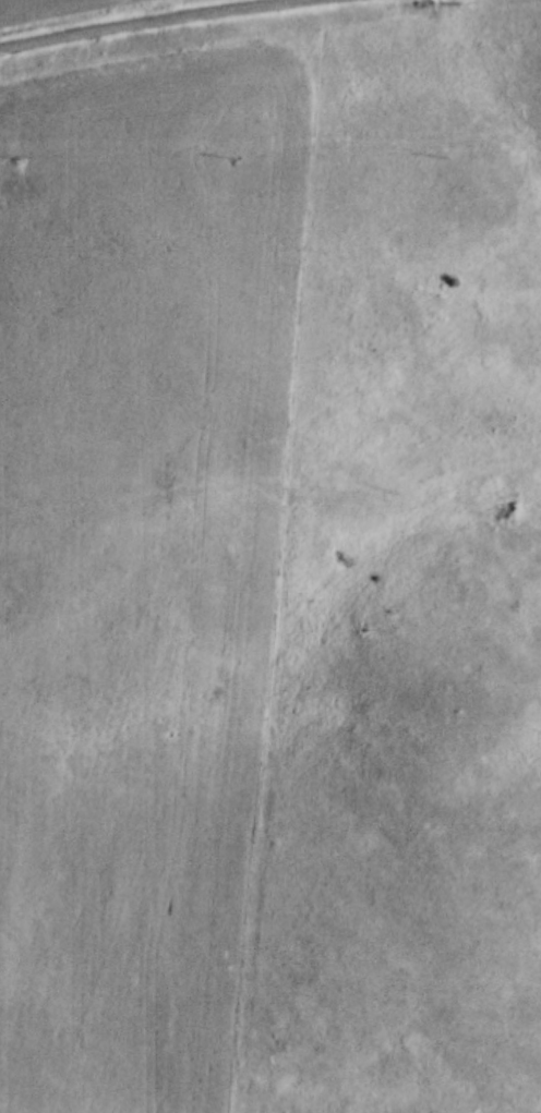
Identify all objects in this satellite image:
road: (146, 21)

